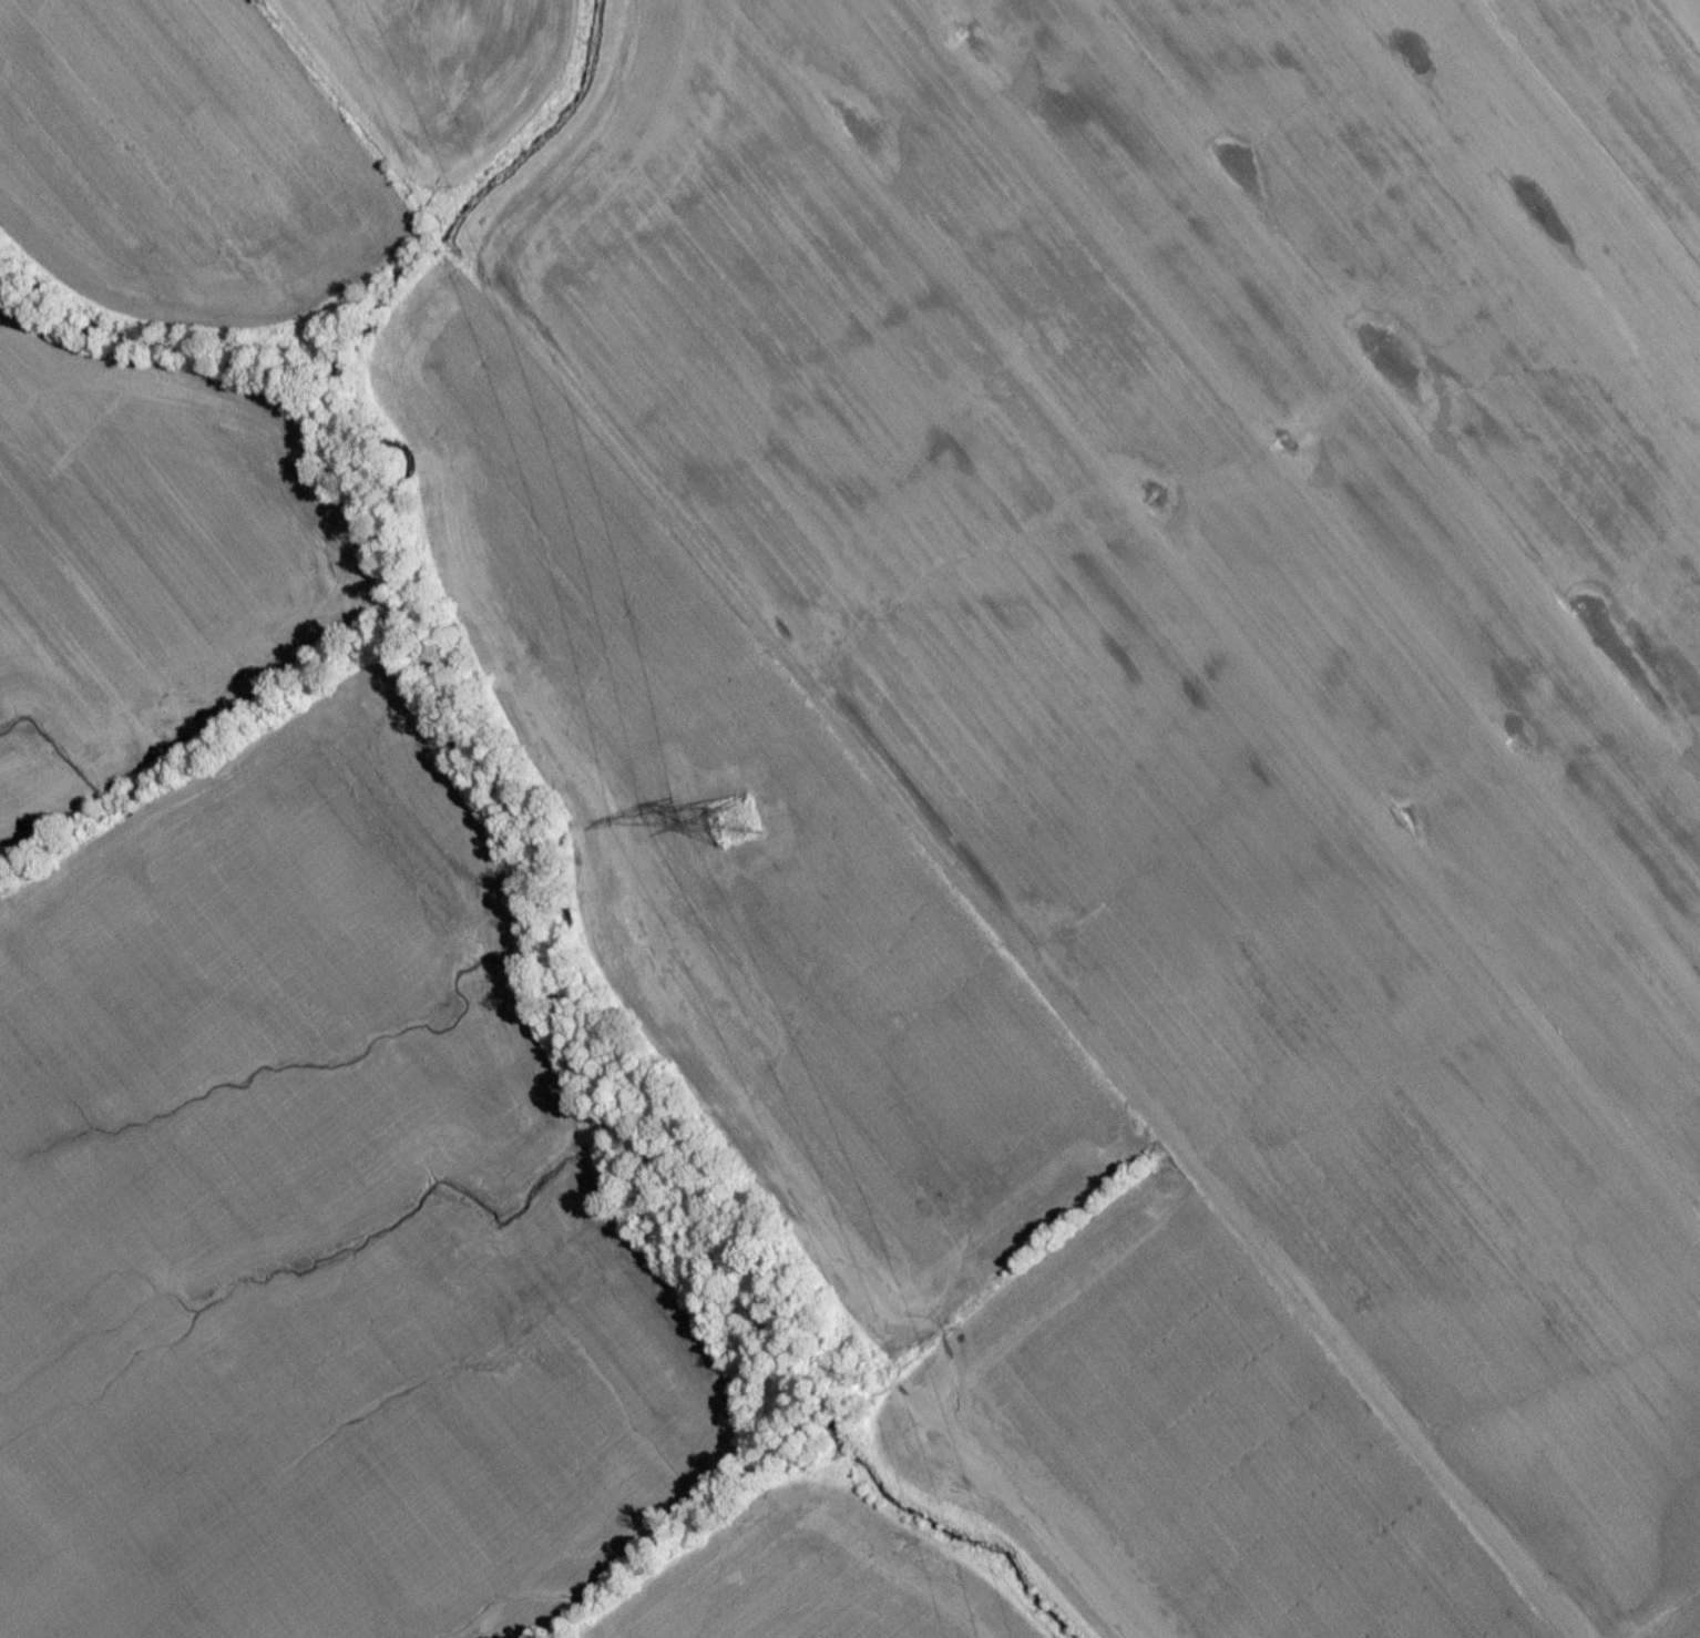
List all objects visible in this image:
road: (1586, 144)
power tower: (736, 829)

